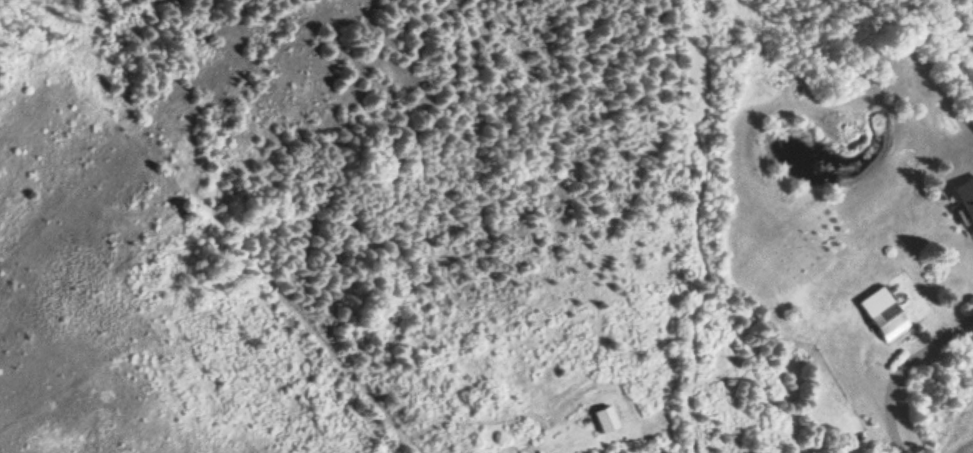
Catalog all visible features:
building: (965, 200)
building: (881, 315)
building: (601, 422)

